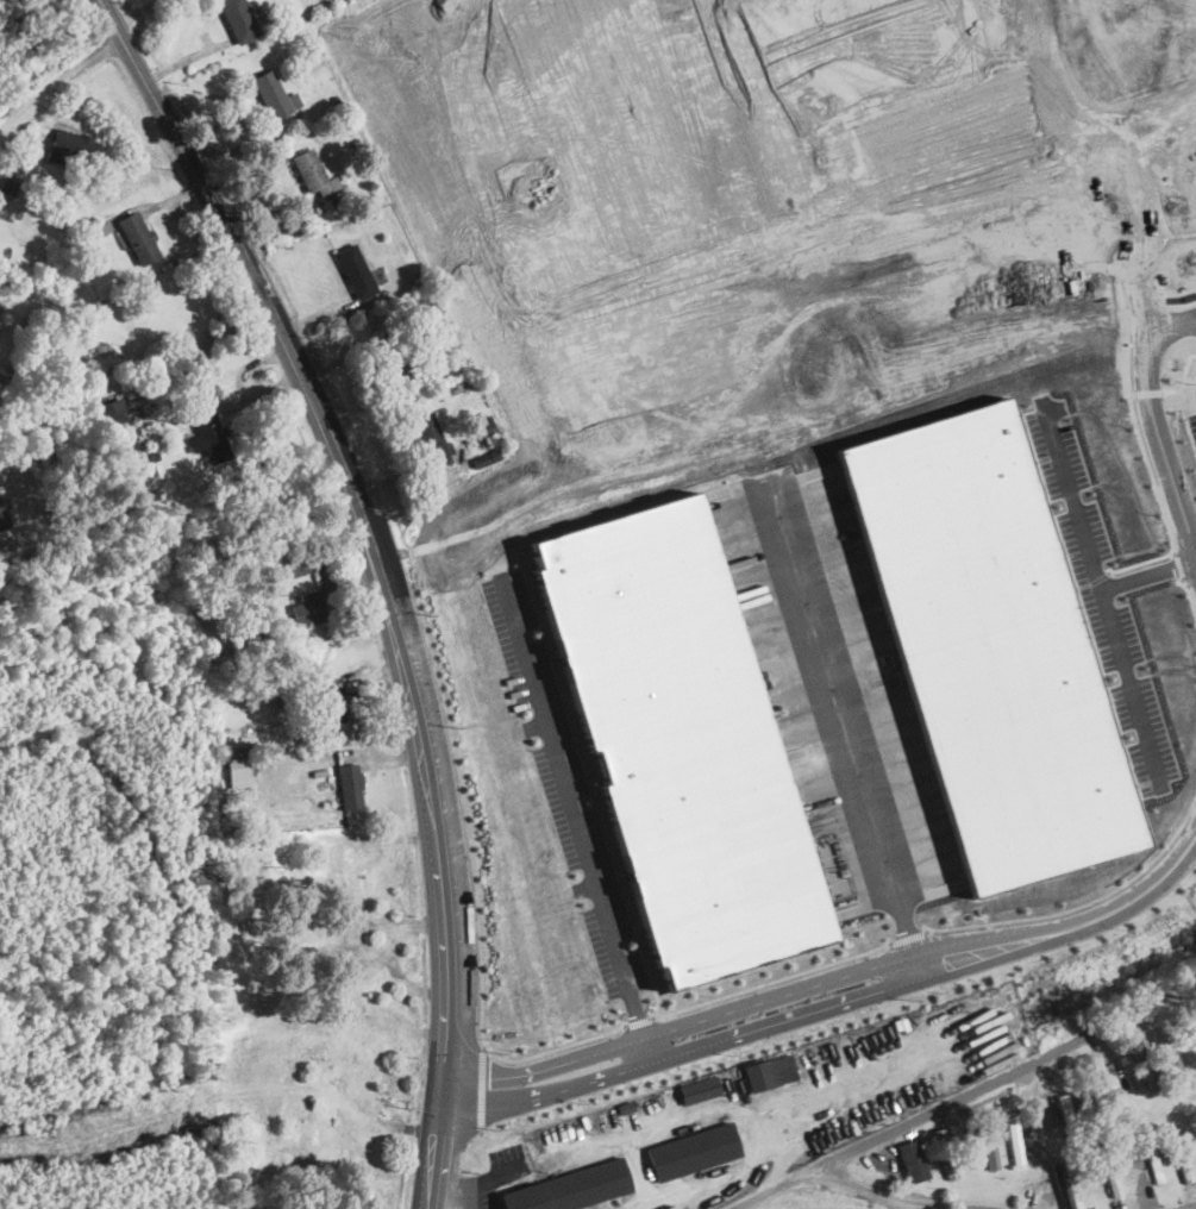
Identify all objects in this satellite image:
building: (240, 19)
road: (60, 81)
building: (275, 95)
building: (74, 146)
building: (312, 170)
building: (139, 237)
building: (357, 270)
road: (1177, 320)
road: (1159, 409)
building: (486, 424)
building: (119, 427)
building: (211, 436)
building: (432, 438)
building: (486, 457)
road: (1070, 503)
building: (4, 516)
building: (299, 566)
road: (374, 577)
building: (308, 604)
road: (1110, 638)
building: (988, 649)
building: (879, 674)
building: (333, 703)
road: (843, 738)
building: (681, 739)
building: (238, 772)
road: (566, 781)
building: (350, 784)
road: (471, 852)
building: (338, 860)
building: (353, 865)
road: (1081, 903)
road: (908, 935)
building: (355, 947)
road: (774, 979)
road: (831, 995)
road: (638, 1020)
road: (639, 1020)
road: (484, 1045)
building: (363, 1051)
building: (1169, 1057)
building: (1141, 1064)
building: (769, 1072)
road: (839, 1082)
building: (700, 1089)
road: (481, 1090)
road: (963, 1095)
road: (740, 1109)
building: (1067, 1116)
building: (351, 1136)
road: (475, 1140)
building: (1013, 1140)
building: (987, 1141)
road: (789, 1147)
building: (691, 1152)
building: (1181, 1158)
building: (912, 1160)
building: (1154, 1164)
road: (637, 1167)
building: (1109, 1176)
road: (478, 1179)
building: (570, 1186)
building: (1060, 1186)
road: (901, 1196)
road: (463, 1197)
building: (256, 1208)

